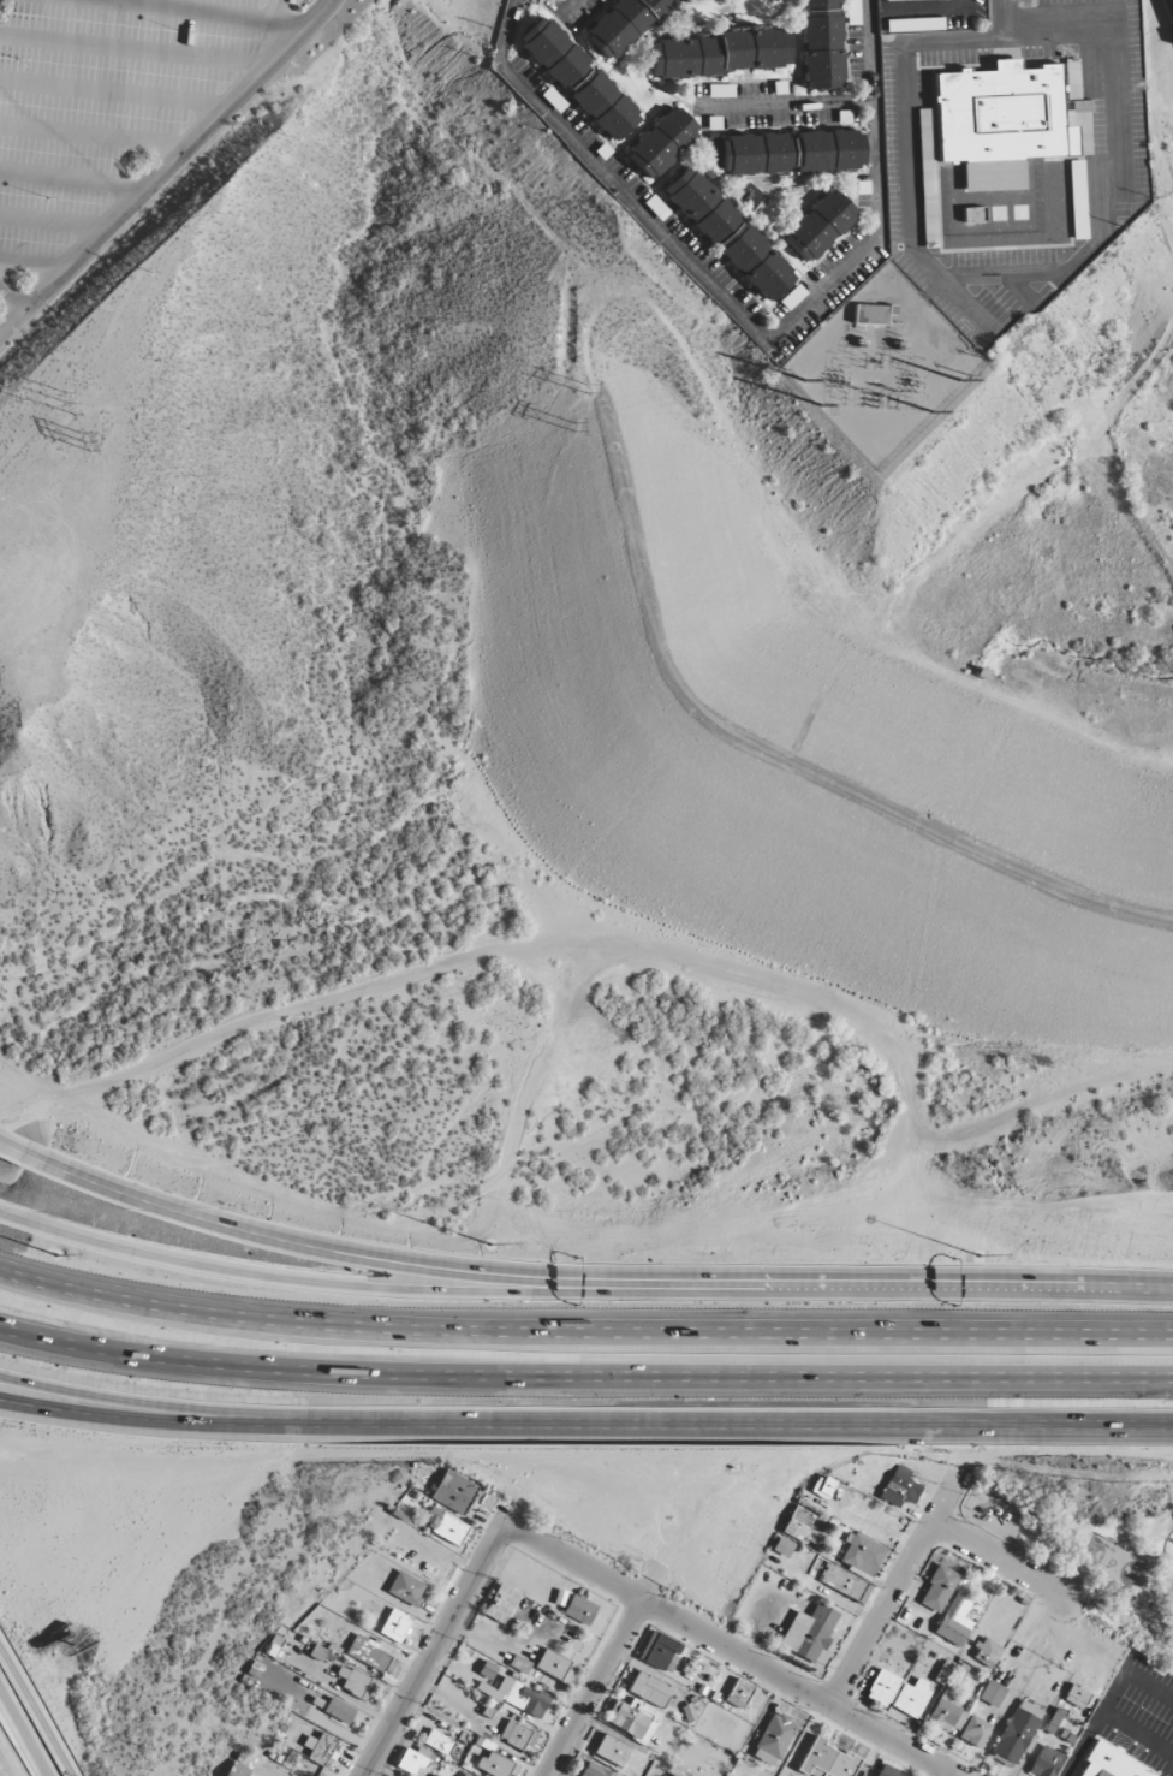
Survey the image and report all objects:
building: (886, 0)
parking lot: (296, 1)
building: (1171, 5)
parking garage: (1171, 5)
road: (567, 8)
road: (922, 8)
road: (275, 10)
road: (203, 12)
building: (852, 18)
building: (913, 24)
building: (624, 25)
road: (973, 41)
building: (820, 43)
road: (132, 49)
building: (719, 53)
building: (578, 78)
building: (1070, 81)
building: (721, 90)
road: (113, 91)
parking lot: (103, 100)
building: (553, 100)
road: (781, 103)
building: (999, 121)
road: (93, 136)
building: (661, 142)
building: (790, 152)
road: (1120, 164)
road: (165, 167)
road: (73, 177)
building: (928, 194)
building: (1077, 198)
road: (911, 206)
building: (656, 207)
building: (972, 214)
road: (53, 221)
building: (818, 225)
building: (727, 233)
road: (32, 263)
road: (1020, 290)
road: (12, 295)
building: (792, 297)
building: (869, 314)
road: (743, 319)
power substation: (881, 364)
road: (20, 1152)
road: (600, 1273)
road: (376, 1285)
road: (583, 1334)
road: (584, 1378)
road: (93, 1394)
road: (585, 1425)
building: (822, 1487)
building: (899, 1487)
building: (453, 1492)
building: (796, 1522)
building: (445, 1525)
park: (1083, 1532)
building: (781, 1546)
building: (862, 1555)
road: (574, 1560)
road: (999, 1560)
building: (841, 1581)
road: (898, 1586)
building: (405, 1588)
building: (937, 1588)
building: (500, 1604)
building: (578, 1610)
building: (954, 1620)
building: (394, 1626)
building: (809, 1633)
building: (273, 1645)
road: (433, 1649)
building: (660, 1651)
building: (368, 1652)
building: (986, 1652)
building: (317, 1653)
building: (519, 1664)
building: (554, 1665)
building: (942, 1671)
building: (355, 1682)
road: (799, 1685)
road: (595, 1687)
building: (882, 1687)
building: (649, 1689)
building: (739, 1693)
building: (992, 1693)
building: (517, 1697)
building: (911, 1697)
building: (1076, 1697)
building: (338, 1710)
building: (947, 1711)
parking lot: (1138, 1712)
road: (34, 1713)
building: (632, 1718)
building: (973, 1732)
building: (1017, 1732)
road: (23, 1734)
building: (518, 1735)
building: (773, 1739)
building: (437, 1741)
building: (318, 1748)
building: (611, 1750)
road: (1078, 1754)
building: (412, 1759)
building: (826, 1760)
building: (1044, 1762)
building: (1109, 1763)
building: (499, 1764)
road: (2, 1769)
building: (237, 1770)
building: (594, 1770)
building: (883, 1771)
building: (466, 1774)
building: (433, 1775)
building: (673, 1775)

